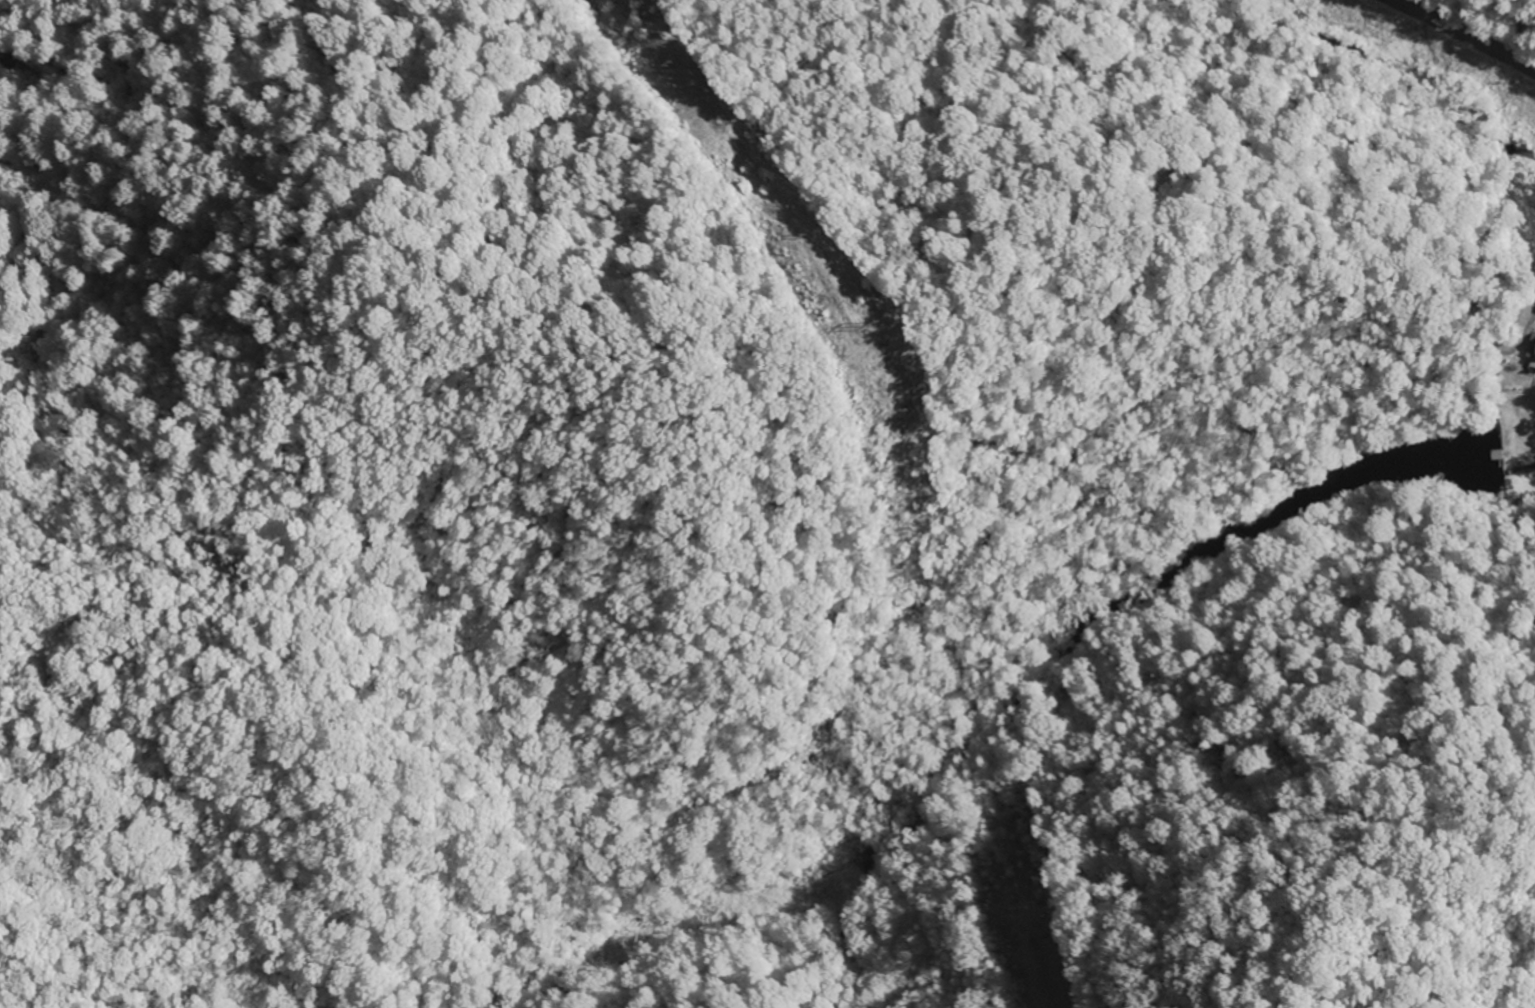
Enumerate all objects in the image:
road: (1466, 34)

